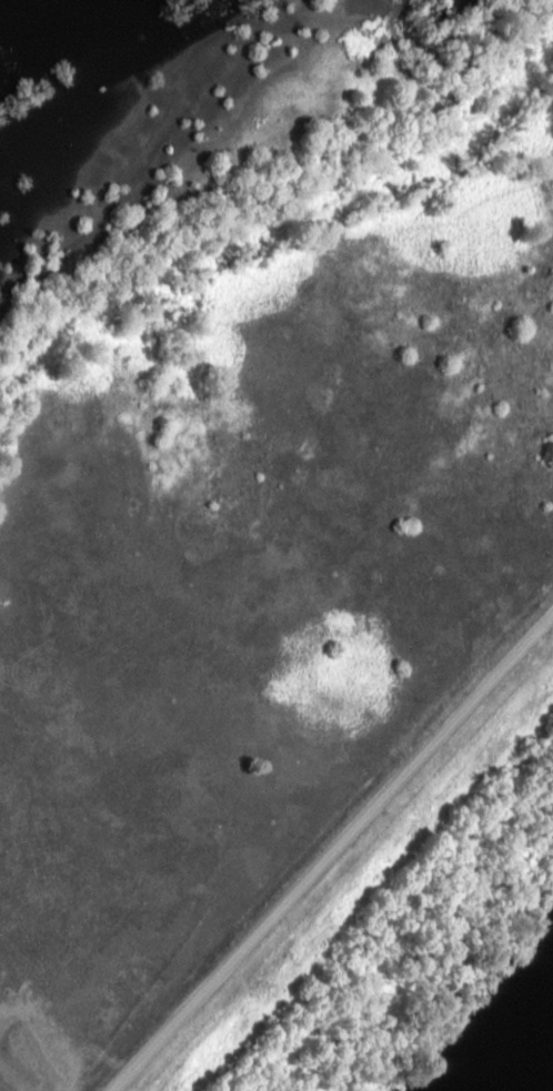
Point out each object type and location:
road: (330, 850)

